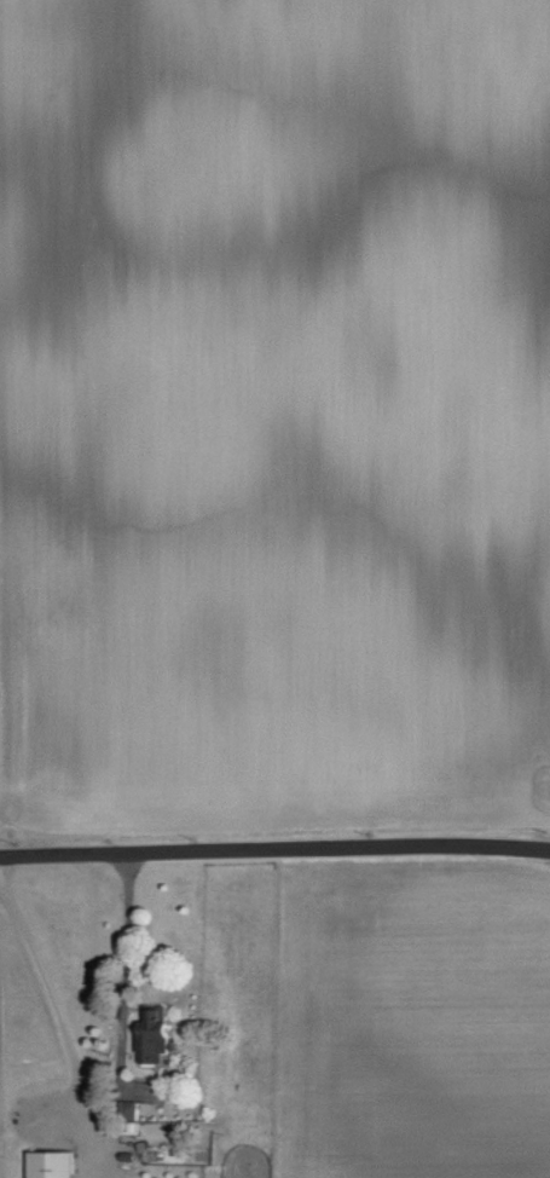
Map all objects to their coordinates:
road: (274, 845)
building: (160, 1035)
road: (104, 1127)
road: (103, 1143)
building: (56, 1163)
road: (102, 1166)
road: (111, 1166)

